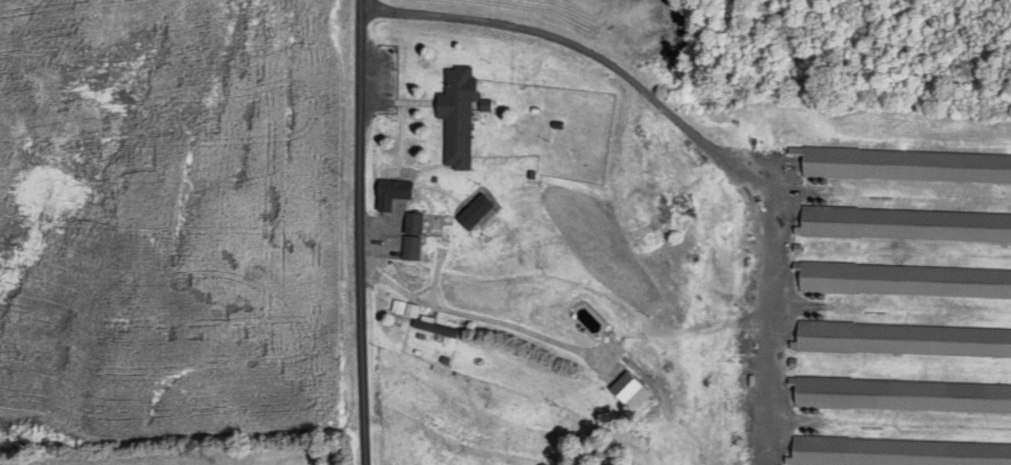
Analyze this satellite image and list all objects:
building: (460, 115)
road: (683, 134)
building: (394, 192)
building: (478, 211)
road: (354, 232)
building: (414, 235)
building: (424, 320)
building: (634, 391)
building: (822, 420)

